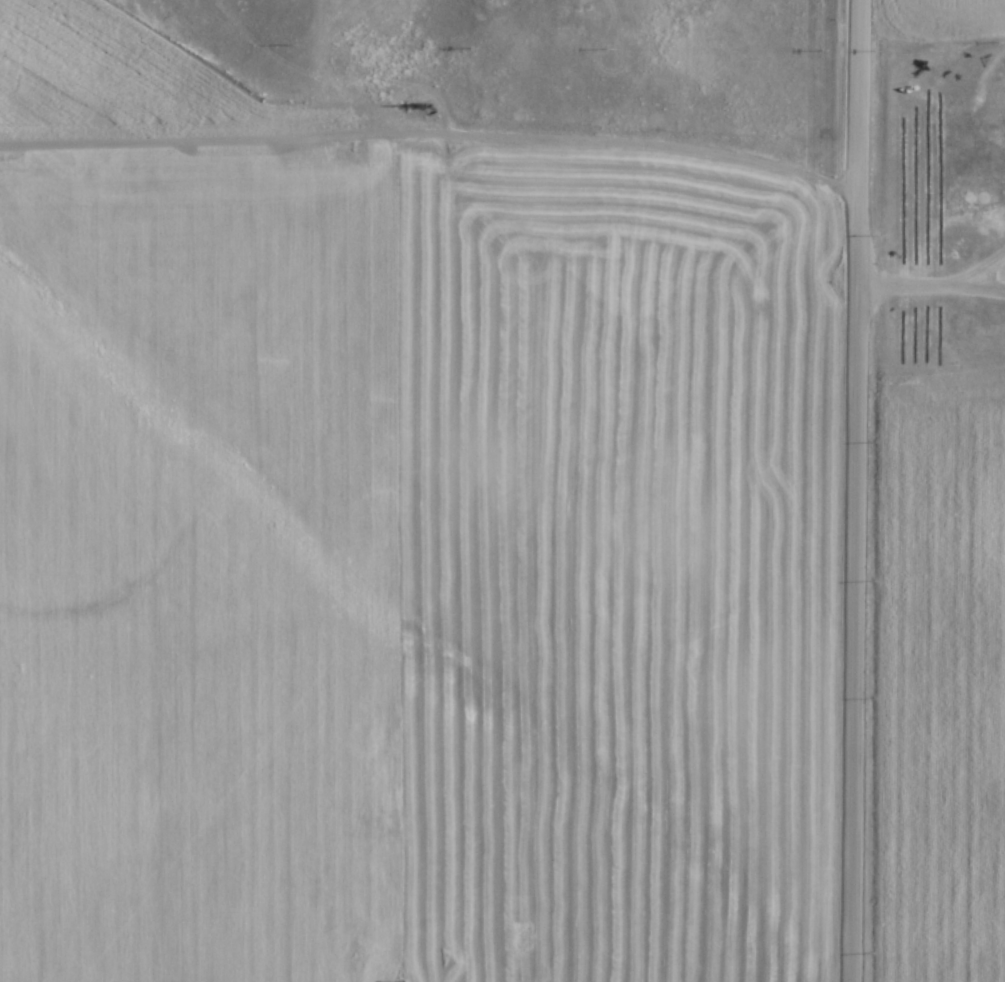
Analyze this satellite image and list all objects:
petroleum well: (434, 120)
road: (436, 141)
road: (990, 279)
road: (934, 288)
road: (860, 490)

